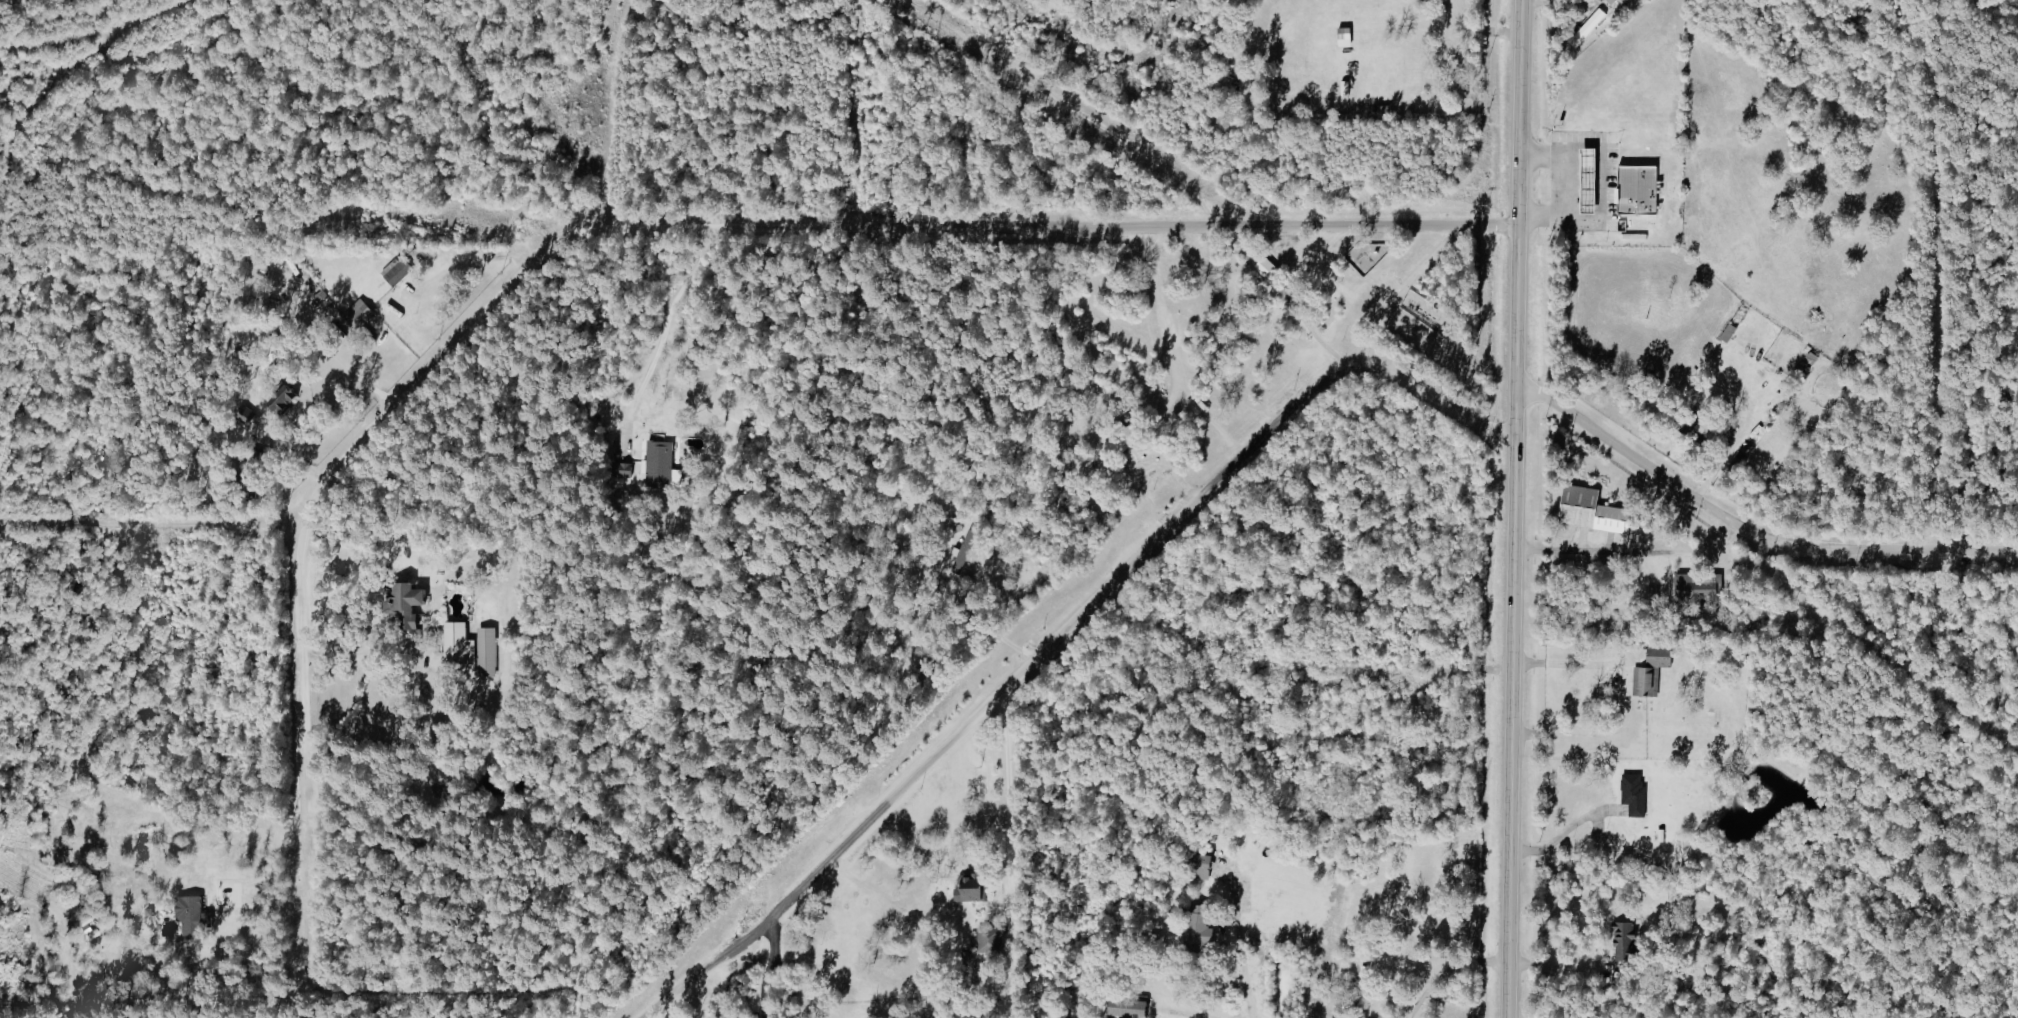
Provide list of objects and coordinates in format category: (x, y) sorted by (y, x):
building: (1612, 2)
building: (1590, 26)
building: (1347, 37)
building: (1592, 181)
road: (1603, 182)
building: (1640, 190)
building: (1268, 269)
building: (397, 272)
road: (486, 308)
building: (359, 314)
road: (661, 333)
building: (1729, 333)
road: (1311, 334)
building: (286, 401)
building: (1711, 428)
building: (1116, 441)
building: (661, 464)
road: (1720, 464)
building: (625, 470)
road: (1513, 508)
building: (1596, 511)
road: (197, 529)
road: (1746, 532)
building: (964, 551)
road: (1632, 555)
building: (1699, 588)
building: (408, 605)
road: (1064, 631)
building: (460, 644)
building: (488, 652)
building: (1662, 656)
building: (1646, 681)
road: (1627, 710)
building: (1635, 794)
road: (1562, 833)
road: (1006, 855)
building: (1204, 866)
building: (972, 889)
building: (191, 915)
building: (1198, 926)
building: (989, 940)
building: (1626, 947)
road: (1240, 956)
road: (1446, 970)
road: (1553, 970)
road: (765, 971)
building: (1130, 1008)
road: (205, 1011)

